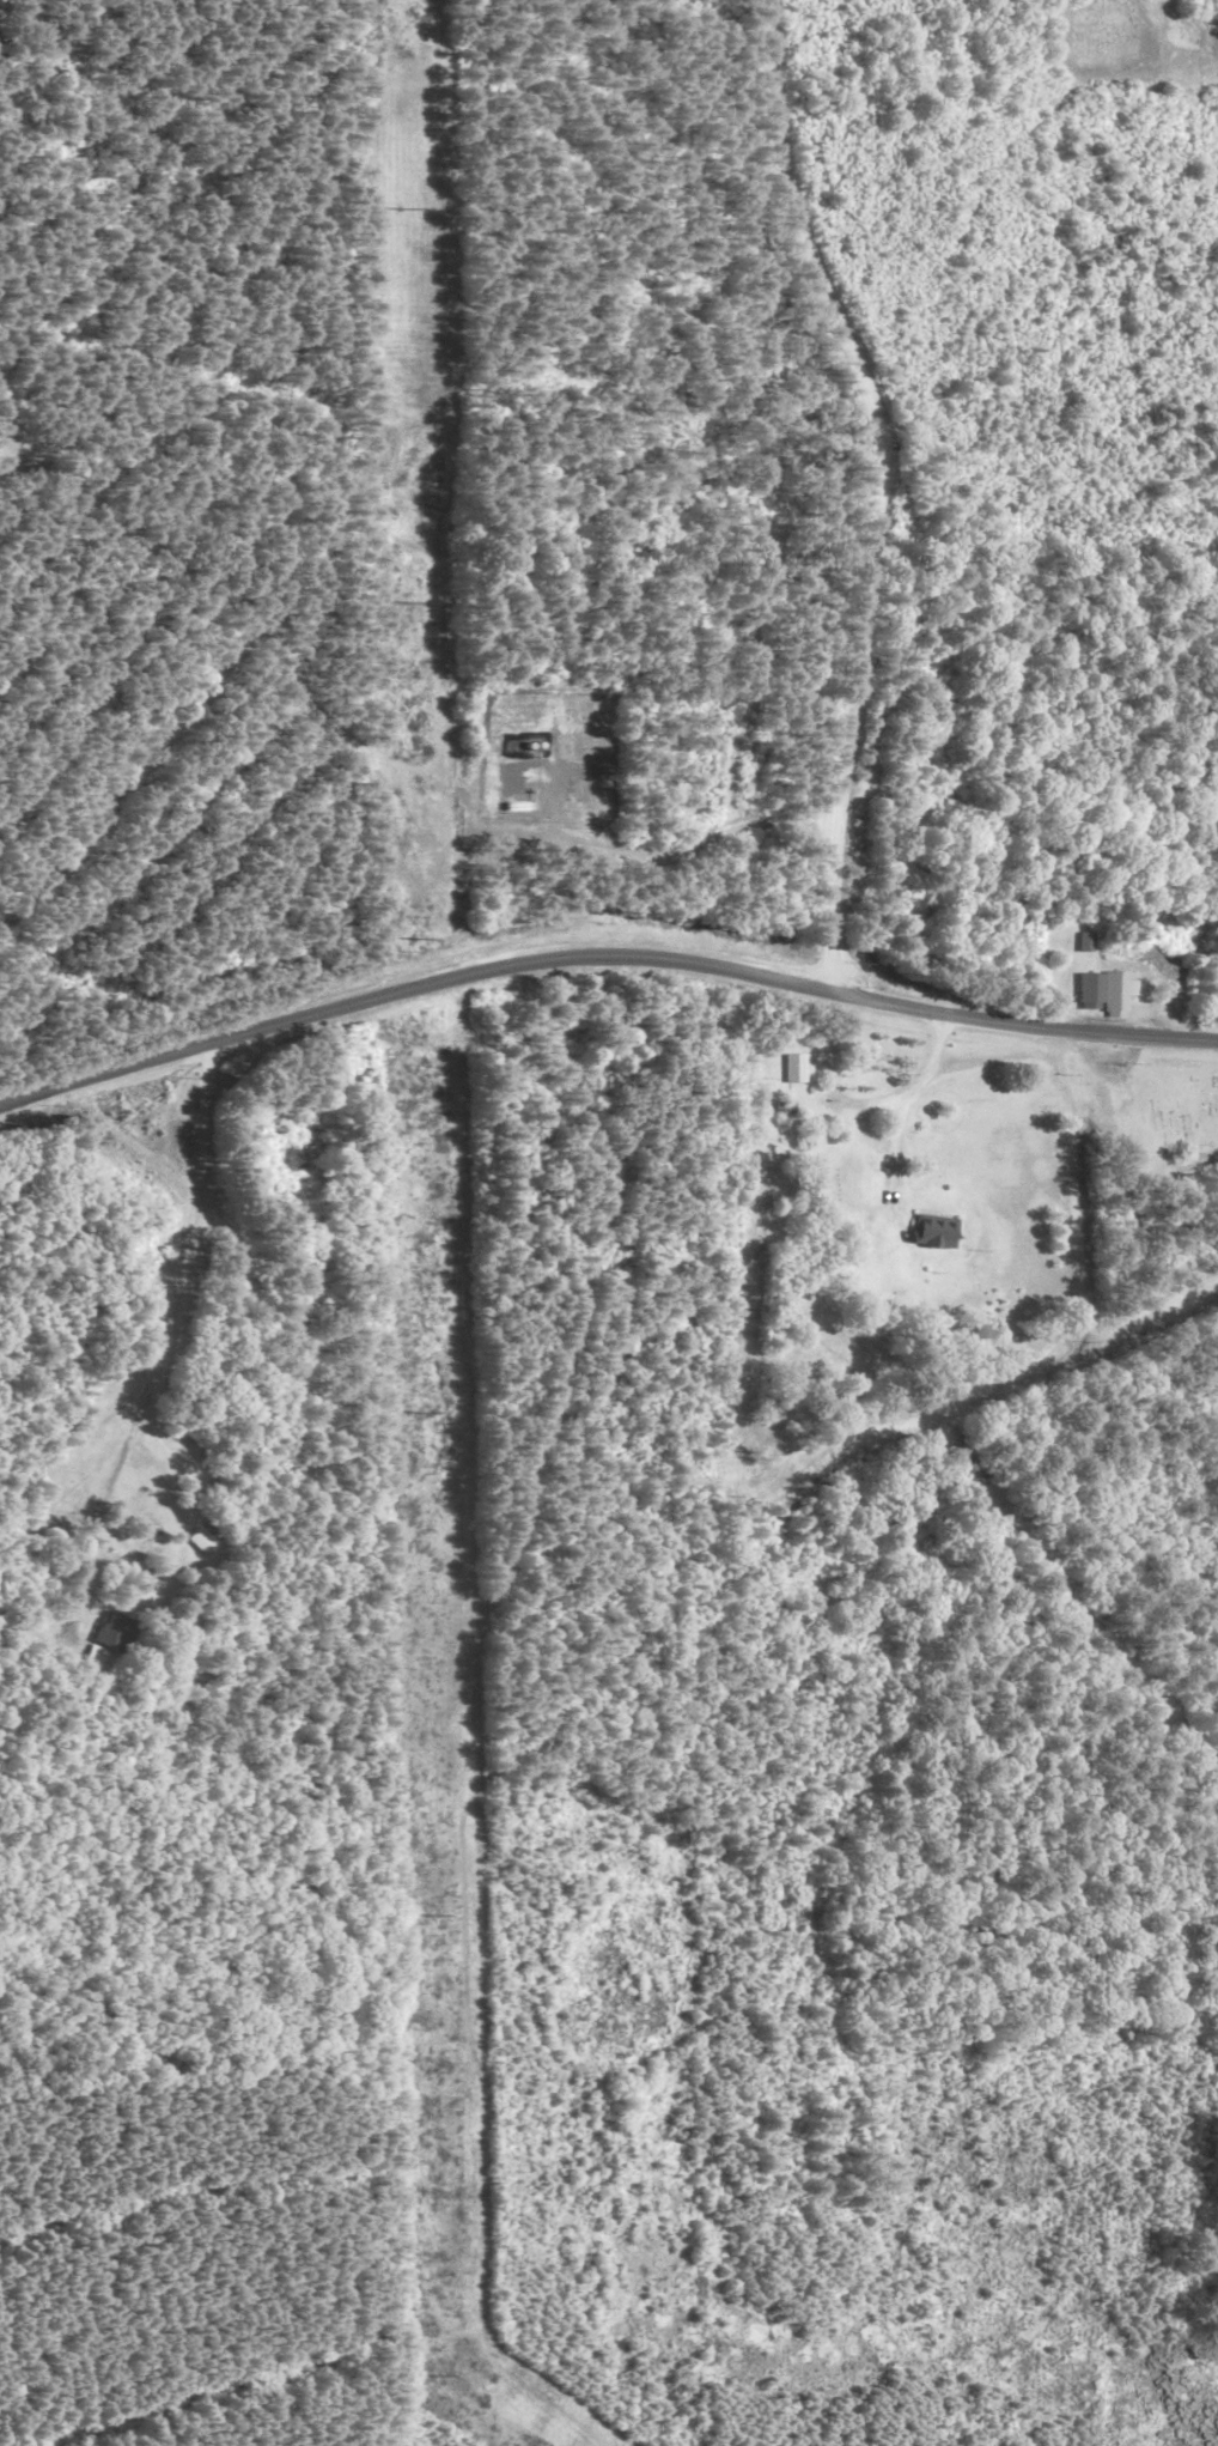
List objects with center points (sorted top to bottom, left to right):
road: (879, 485)
building: (514, 811)
building: (1082, 947)
road: (602, 955)
building: (1108, 989)
building: (791, 1072)
road: (861, 1105)
building: (932, 1236)
road: (1079, 1258)
road: (165, 1334)
building: (961, 1468)
building: (209, 1558)
building: (110, 1634)

